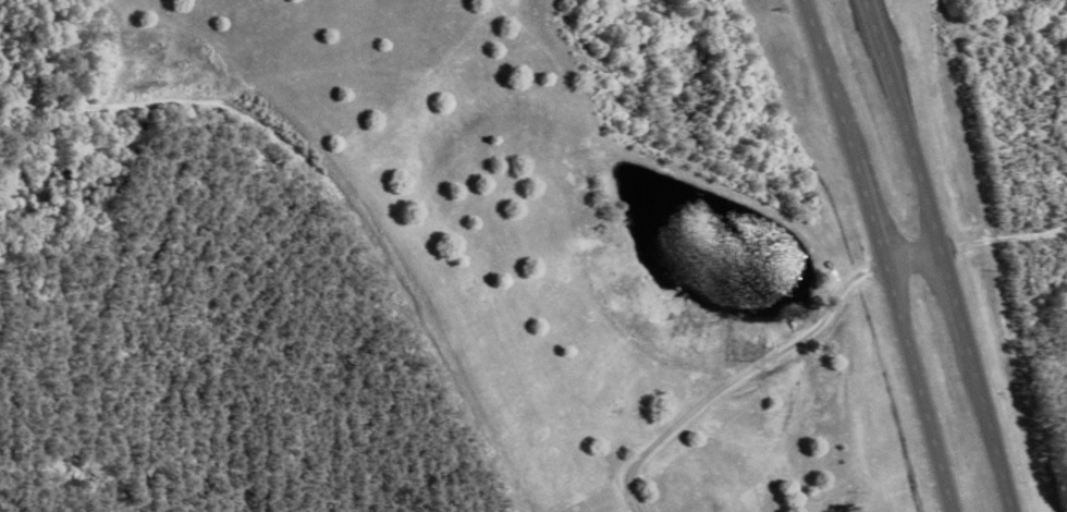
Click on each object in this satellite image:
road: (323, 200)
road: (999, 245)
road: (927, 252)
road: (863, 254)
road: (761, 363)

